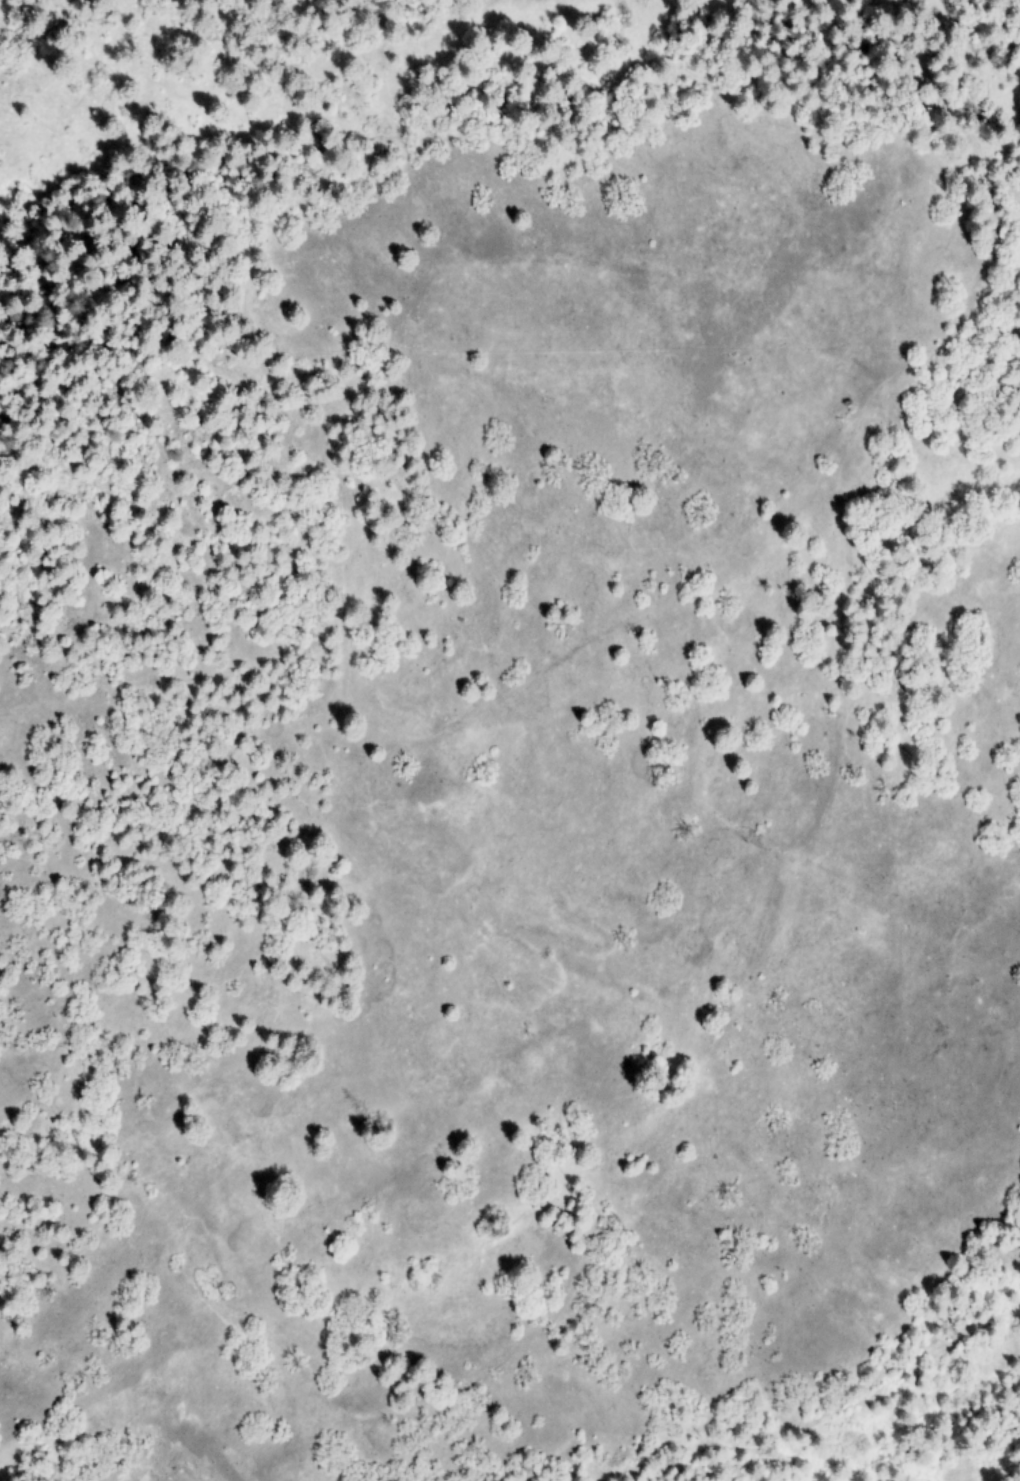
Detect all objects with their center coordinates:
road: (757, 767)
road: (847, 1424)

